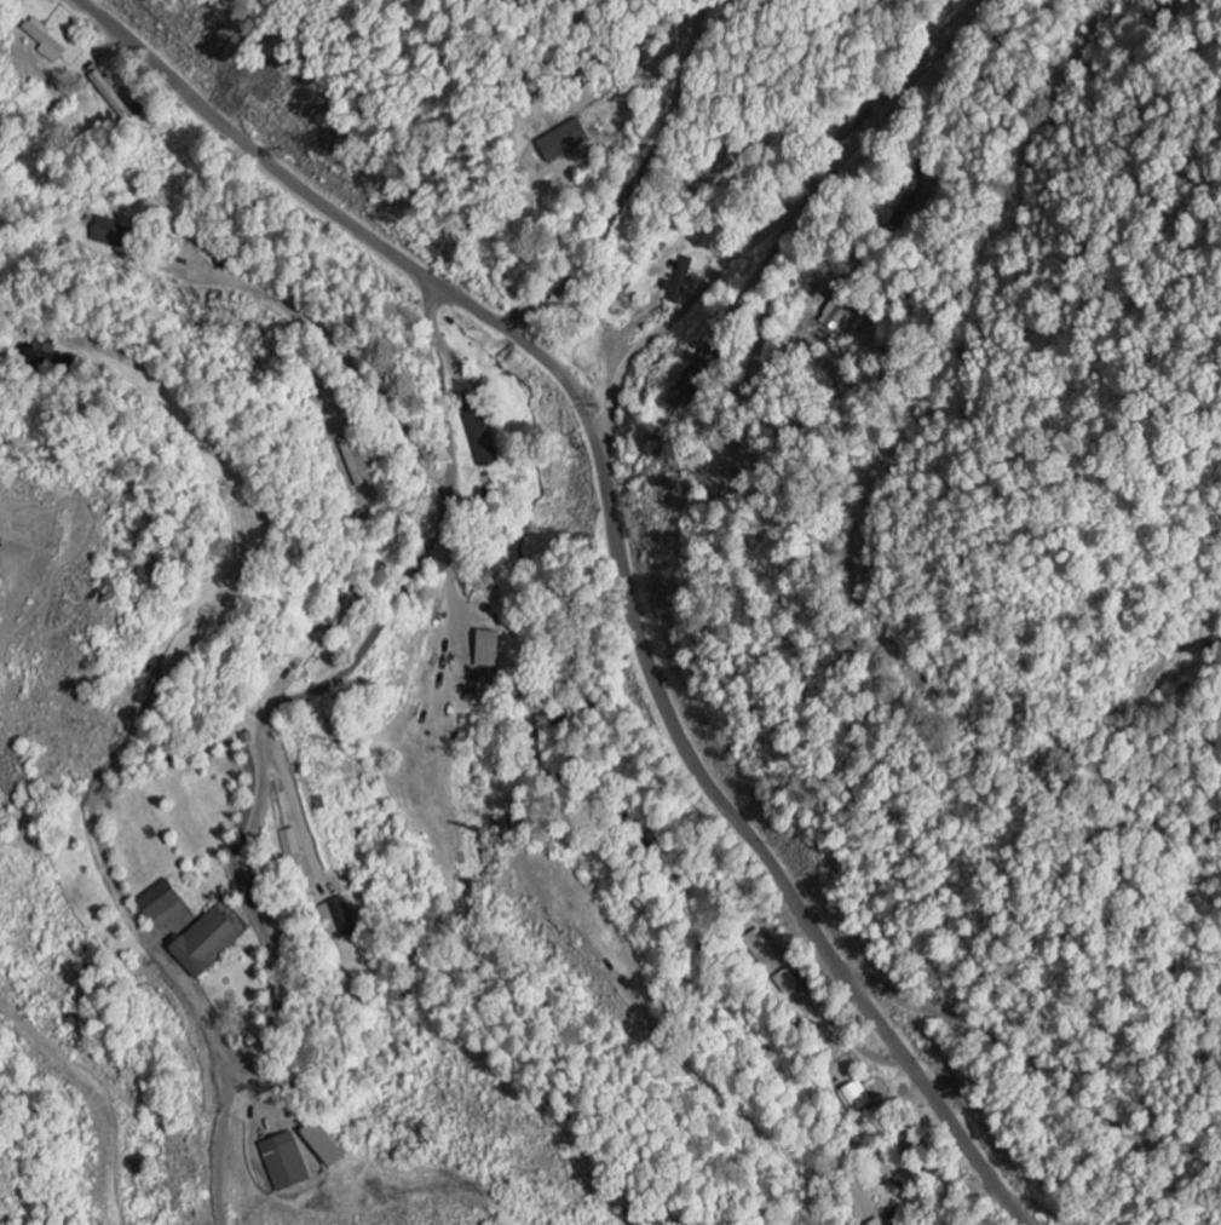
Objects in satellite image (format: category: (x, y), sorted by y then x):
building: (570, 140)
building: (115, 235)
road: (683, 305)
road: (361, 375)
building: (482, 439)
road: (626, 546)
building: (495, 651)
building: (479, 691)
building: (293, 840)
road: (243, 870)
building: (165, 899)
building: (340, 910)
building: (213, 942)
building: (329, 1145)
building: (289, 1162)
building: (874, 1223)

